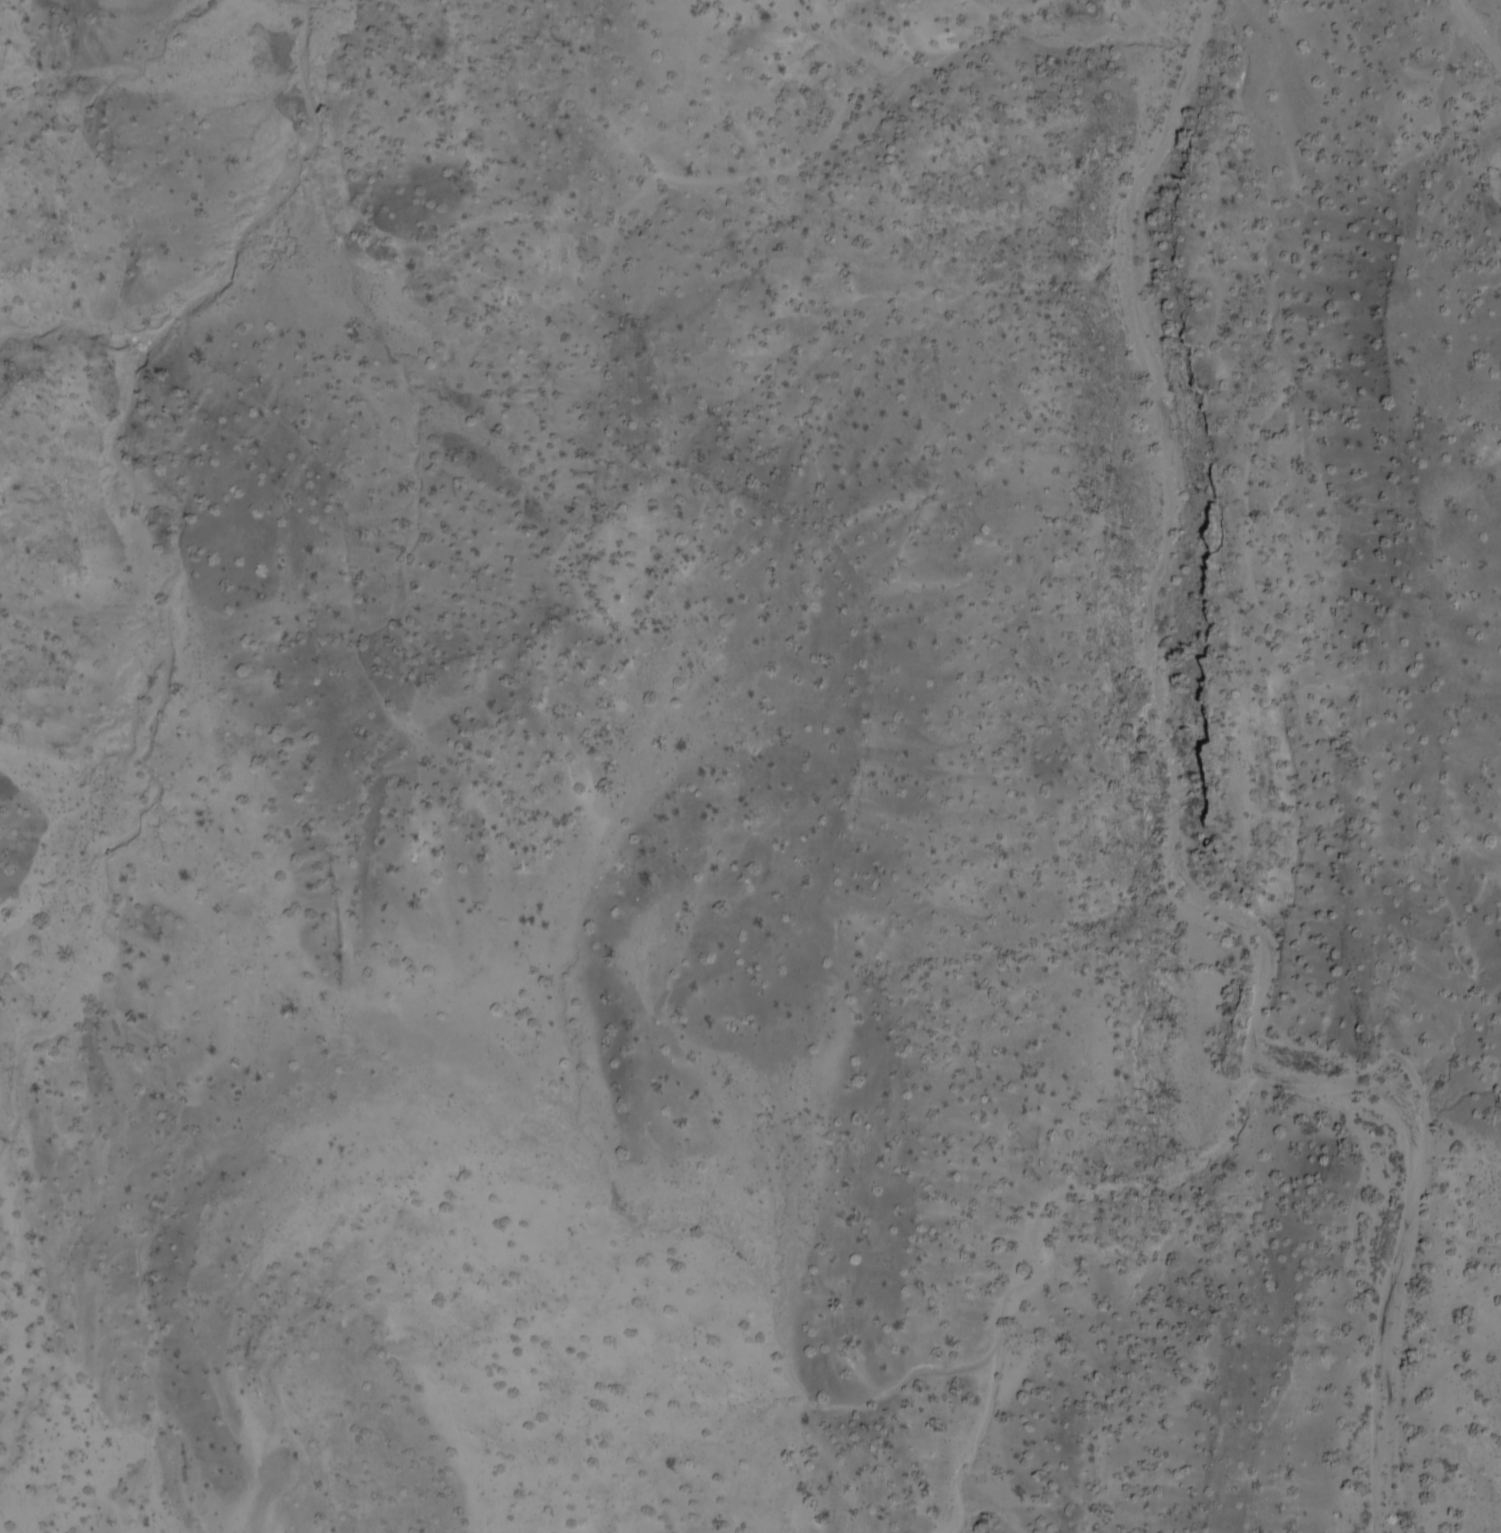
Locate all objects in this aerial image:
road: (1484, 23)

